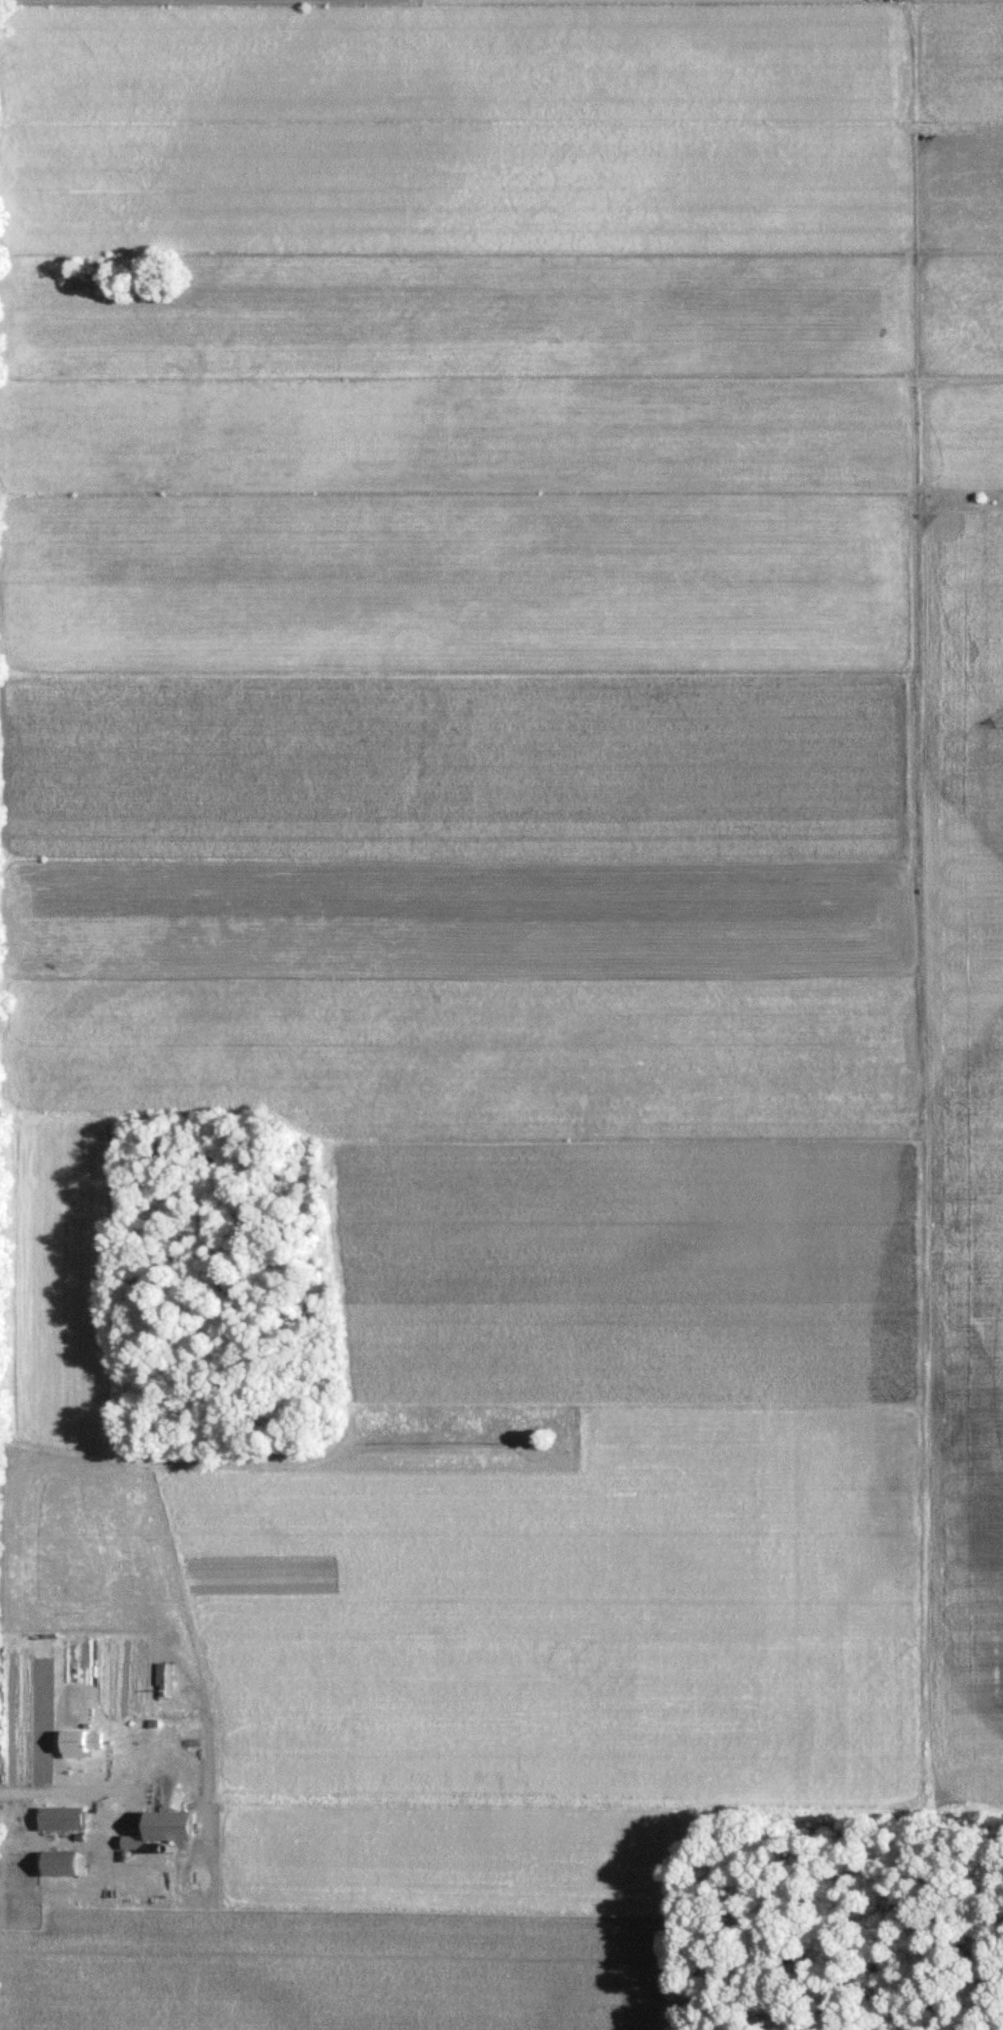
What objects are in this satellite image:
building: (76, 1744)
building: (58, 1818)

